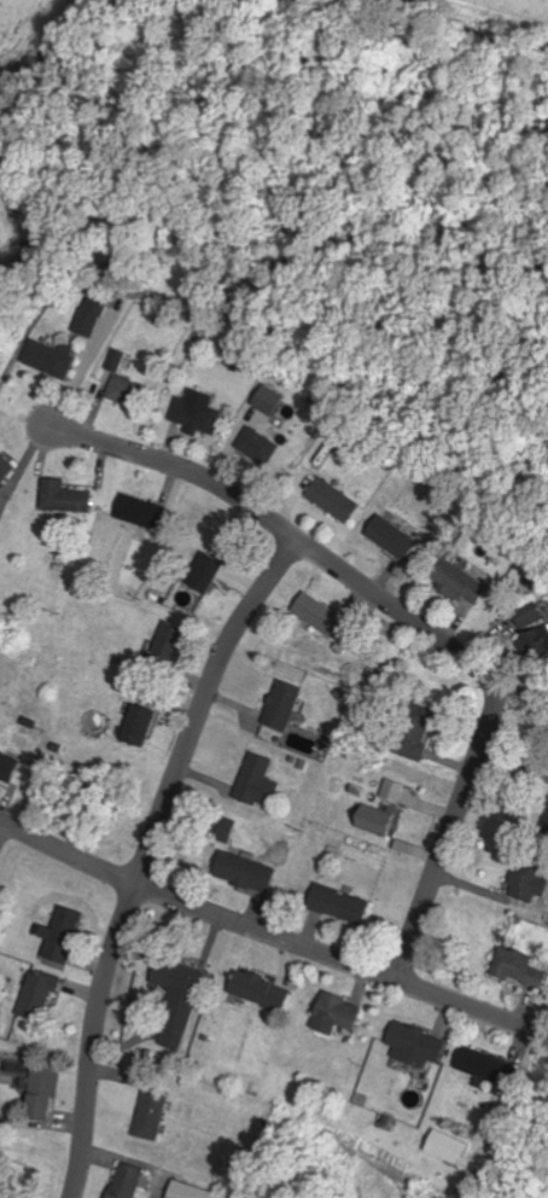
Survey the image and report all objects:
building: (100, 320)
building: (58, 359)
road: (82, 371)
building: (268, 401)
building: (197, 414)
building: (256, 450)
building: (5, 467)
building: (63, 498)
building: (332, 500)
building: (134, 511)
building: (204, 574)
building: (453, 580)
road: (404, 611)
building: (319, 613)
building: (527, 617)
building: (167, 644)
building: (536, 644)
building: (284, 706)
building: (138, 727)
building: (415, 733)
building: (11, 767)
building: (257, 781)
building: (395, 792)
building: (374, 820)
building: (222, 828)
road: (147, 854)
building: (246, 873)
building: (526, 885)
building: (338, 905)
road: (264, 927)
building: (68, 935)
building: (517, 969)
building: (260, 991)
building: (43, 995)
building: (183, 1000)
building: (334, 1016)
building: (414, 1046)
building: (484, 1066)
building: (48, 1092)
building: (157, 1115)
building: (445, 1148)
building: (132, 1181)
building: (192, 1192)

